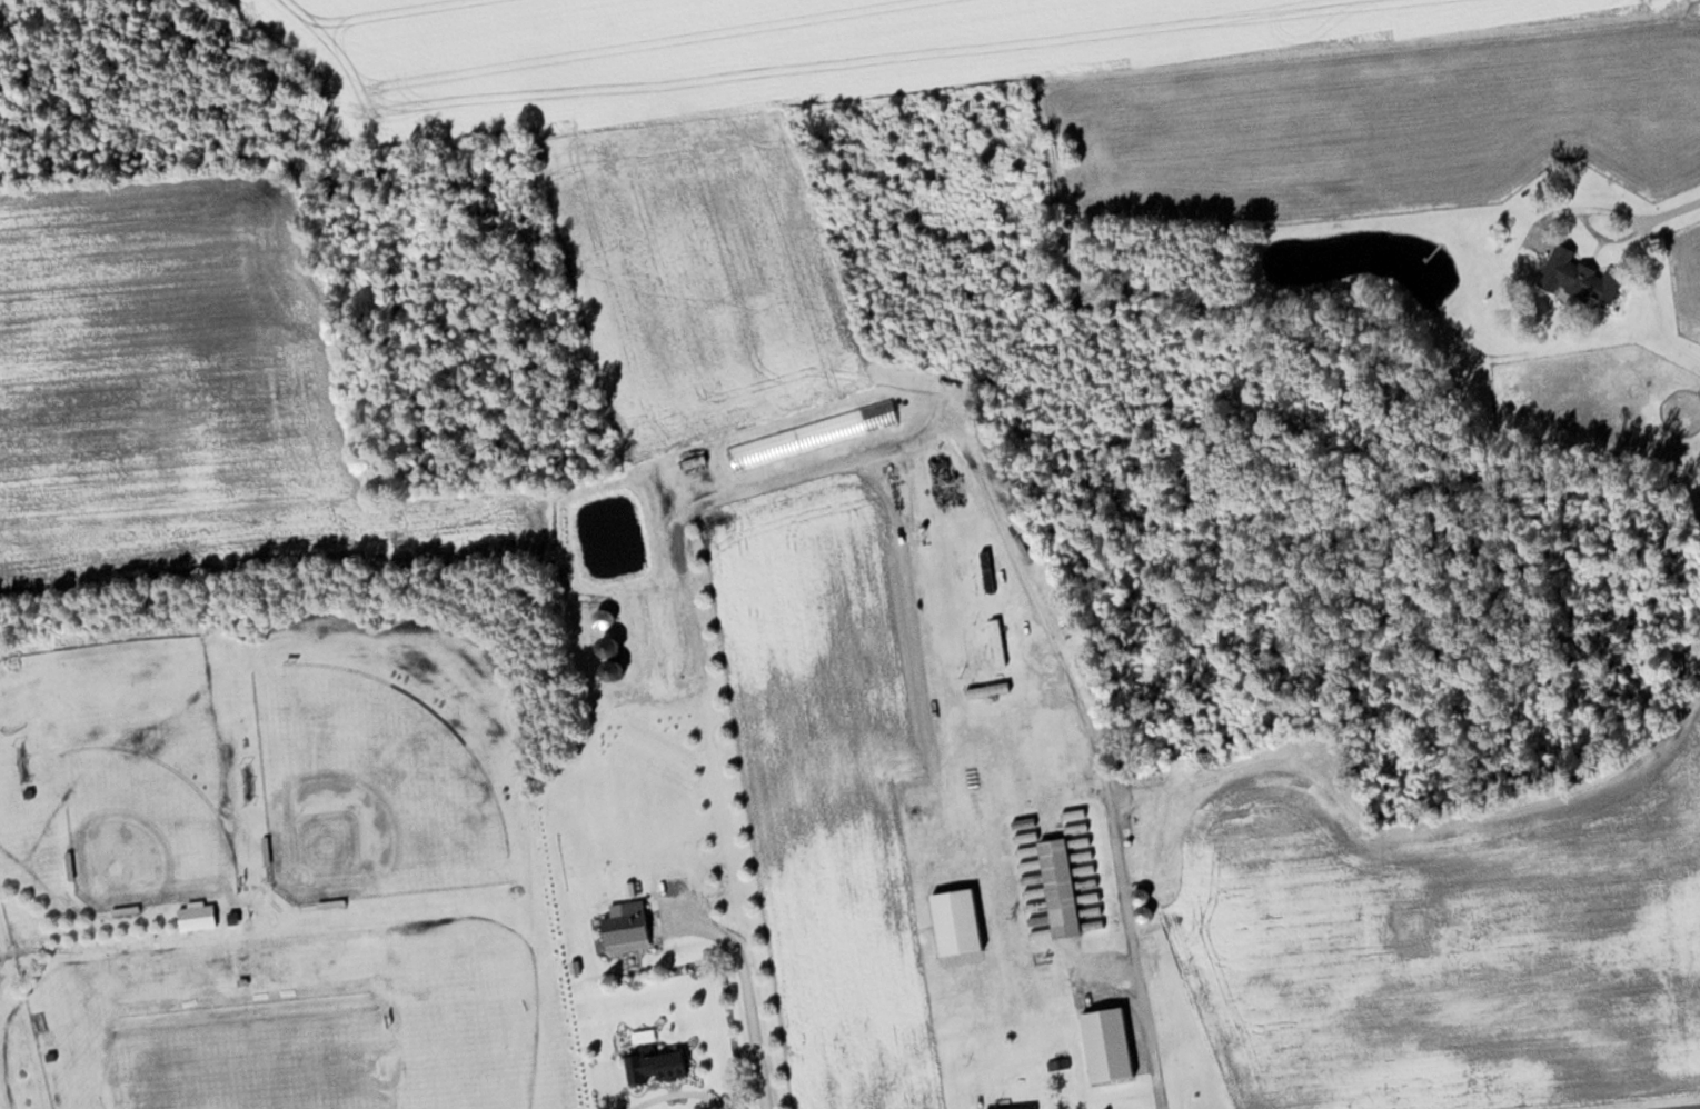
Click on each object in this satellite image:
road: (1613, 210)
road: (1610, 237)
building: (1577, 277)
building: (827, 430)
building: (697, 474)
building: (986, 571)
building: (943, 579)
building: (598, 618)
building: (606, 640)
building: (998, 646)
road: (1093, 749)
building: (1057, 887)
building: (195, 917)
building: (625, 928)
road: (739, 993)
building: (1106, 1025)
building: (648, 1067)
building: (1013, 1108)
road: (1690, 1108)

